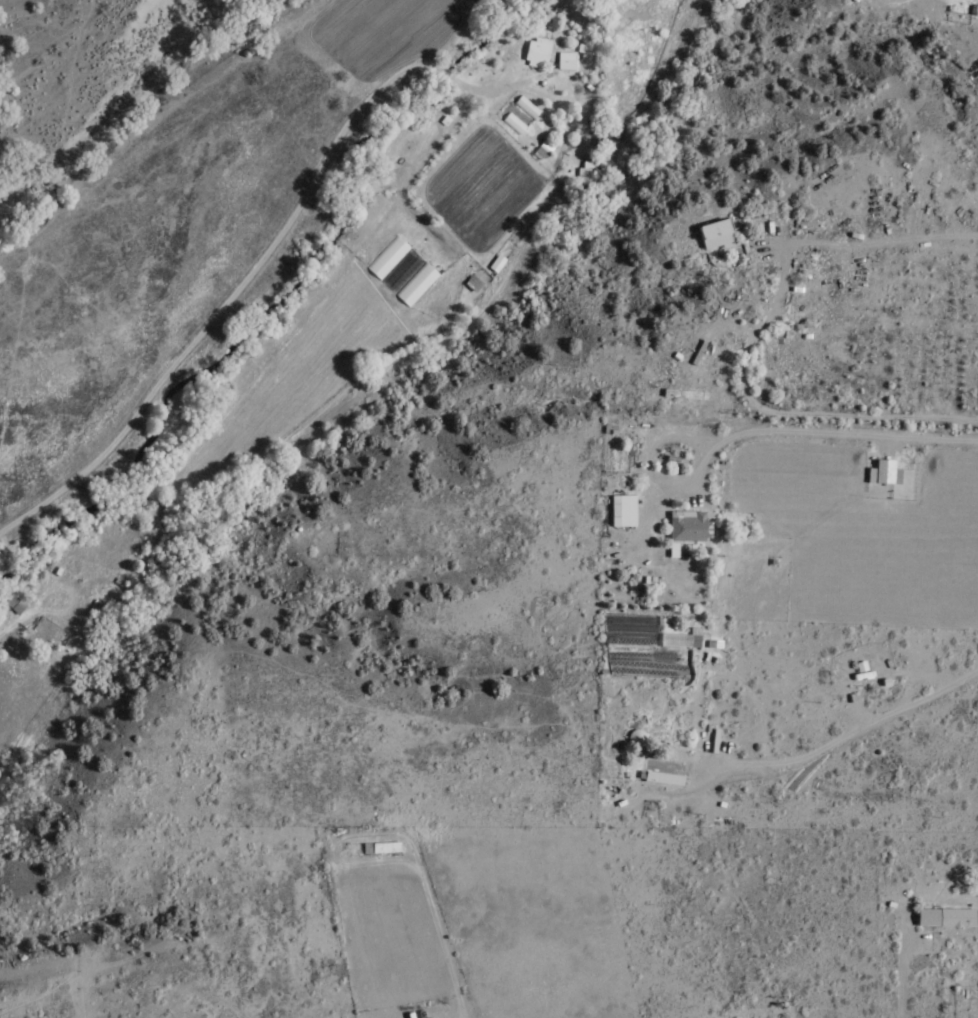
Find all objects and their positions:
building: (535, 54)
building: (564, 63)
building: (518, 117)
building: (708, 236)
building: (620, 514)
building: (688, 526)
building: (13, 604)
building: (663, 778)
building: (380, 848)
building: (945, 917)

